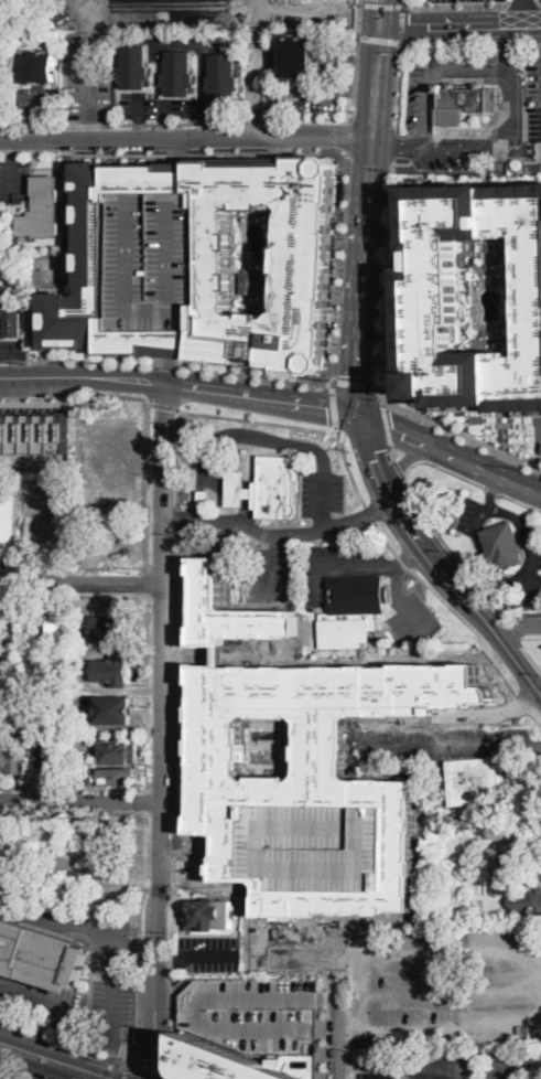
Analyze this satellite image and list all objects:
parking lot: (458, 0)
road: (358, 1)
road: (333, 2)
road: (403, 2)
road: (380, 3)
road: (522, 4)
road: (540, 4)
road: (163, 6)
road: (455, 6)
building: (1, 9)
parking lot: (166, 10)
road: (381, 12)
road: (523, 12)
road: (318, 17)
road: (403, 24)
road: (459, 24)
traffic signals: (380, 25)
road: (177, 41)
road: (379, 41)
road: (448, 42)
road: (507, 42)
road: (528, 42)
road: (539, 42)
parking lot: (187, 45)
building: (301, 54)
road: (356, 63)
building: (134, 66)
building: (36, 67)
road: (257, 67)
building: (178, 74)
parking lot: (89, 76)
building: (224, 77)
road: (203, 81)
road: (399, 86)
road: (468, 88)
building: (428, 90)
parking lot: (3, 93)
road: (307, 93)
road: (358, 93)
parking lot: (306, 98)
parking lot: (533, 99)
parking lot: (37, 104)
road: (37, 105)
road: (139, 106)
parking lot: (166, 107)
road: (166, 110)
road: (275, 114)
road: (119, 122)
road: (87, 128)
road: (139, 128)
road: (37, 129)
road: (166, 129)
road: (203, 129)
road: (186, 137)
road: (348, 138)
road: (495, 140)
road: (394, 143)
road: (12, 148)
road: (181, 151)
road: (181, 180)
road: (12, 181)
parking lot: (15, 182)
building: (43, 211)
road: (367, 220)
building: (18, 243)
building: (160, 263)
parking lot: (160, 263)
building: (214, 265)
road: (343, 268)
road: (76, 270)
road: (389, 273)
building: (252, 285)
building: (435, 293)
building: (11, 314)
street lamp: (339, 318)
road: (169, 344)
parking lot: (12, 348)
road: (11, 355)
road: (91, 357)
road: (17, 365)
road: (167, 371)
road: (257, 373)
traffic signals: (357, 375)
road: (83, 376)
road: (355, 383)
road: (76, 393)
road: (380, 395)
road: (261, 398)
road: (334, 404)
road: (163, 406)
traffic signals: (327, 409)
road: (296, 425)
road: (387, 425)
traffic signals: (393, 428)
road: (335, 429)
building: (34, 431)
road: (365, 432)
road: (461, 432)
parking lot: (537, 434)
road: (411, 435)
road: (364, 436)
road: (539, 437)
road: (266, 438)
road: (149, 446)
traffic signals: (372, 452)
road: (393, 453)
road: (418, 456)
road: (176, 457)
road: (400, 469)
road: (381, 472)
road: (502, 476)
road: (236, 487)
building: (275, 488)
building: (237, 489)
road: (490, 490)
parking lot: (322, 491)
building: (203, 496)
road: (517, 501)
road: (421, 510)
road: (371, 513)
parking lot: (470, 515)
building: (8, 517)
road: (177, 519)
road: (225, 519)
road: (149, 527)
road: (320, 528)
road: (528, 532)
road: (386, 538)
building: (502, 545)
road: (482, 547)
road: (356, 560)
road: (403, 563)
parking lot: (339, 565)
parking lot: (529, 567)
parking lot: (277, 574)
road: (150, 580)
road: (82, 583)
road: (398, 584)
road: (463, 594)
building: (353, 610)
building: (234, 611)
parking lot: (413, 617)
road: (469, 624)
road: (518, 626)
building: (109, 629)
road: (512, 629)
building: (56, 634)
road: (531, 655)
building: (112, 671)
road: (148, 692)
road: (526, 702)
building: (113, 708)
road: (538, 716)
road: (161, 731)
road: (535, 746)
road: (447, 749)
building: (119, 750)
road: (175, 750)
building: (18, 754)
building: (90, 757)
building: (53, 758)
building: (310, 761)
building: (111, 777)
building: (474, 781)
road: (73, 788)
road: (80, 800)
road: (147, 800)
road: (145, 812)
building: (110, 833)
building: (538, 843)
building: (25, 845)
building: (317, 845)
parking lot: (317, 845)
building: (490, 859)
building: (523, 868)
building: (80, 879)
building: (11, 885)
building: (527, 899)
building: (210, 915)
road: (76, 928)
road: (437, 951)
building: (40, 952)
parking lot: (207, 952)
road: (209, 957)
road: (169, 958)
parking lot: (119, 971)
road: (470, 979)
parking lot: (440, 987)
road: (167, 998)
road: (329, 998)
parking lot: (46, 1005)
road: (141, 1008)
road: (353, 1008)
road: (339, 1017)
building: (259, 1018)
parking garage: (259, 1018)
road: (489, 1018)
road: (97, 1022)
road: (329, 1033)
road: (69, 1044)
road: (25, 1045)
traffic signals: (153, 1058)
road: (21, 1060)
building: (224, 1062)
parking lot: (507, 1062)
road: (84, 1064)
road: (407, 1064)
parking lot: (439, 1064)
road: (517, 1068)
road: (153, 1069)
road: (128, 1071)
road: (470, 1071)
road: (15, 1072)
road: (57, 1073)
road: (122, 1076)
building: (380, 1076)
road: (169, 1077)

